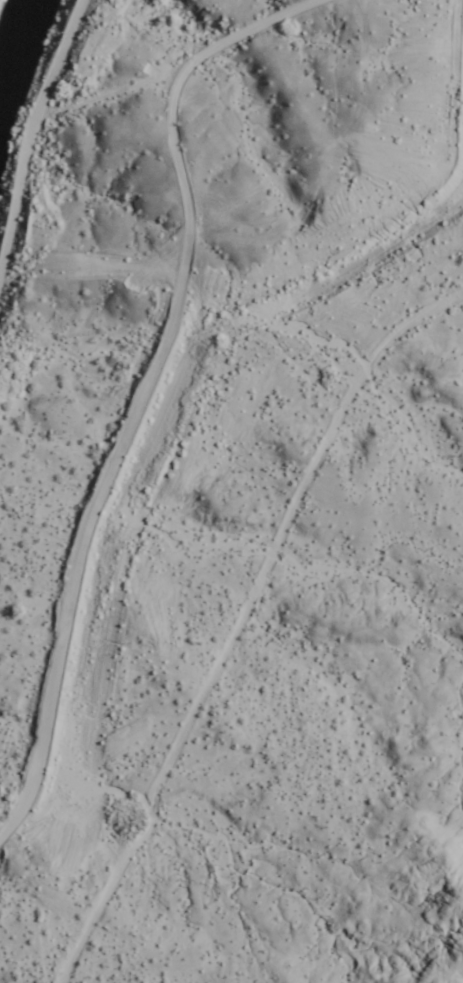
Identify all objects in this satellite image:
river: (18, 45)

